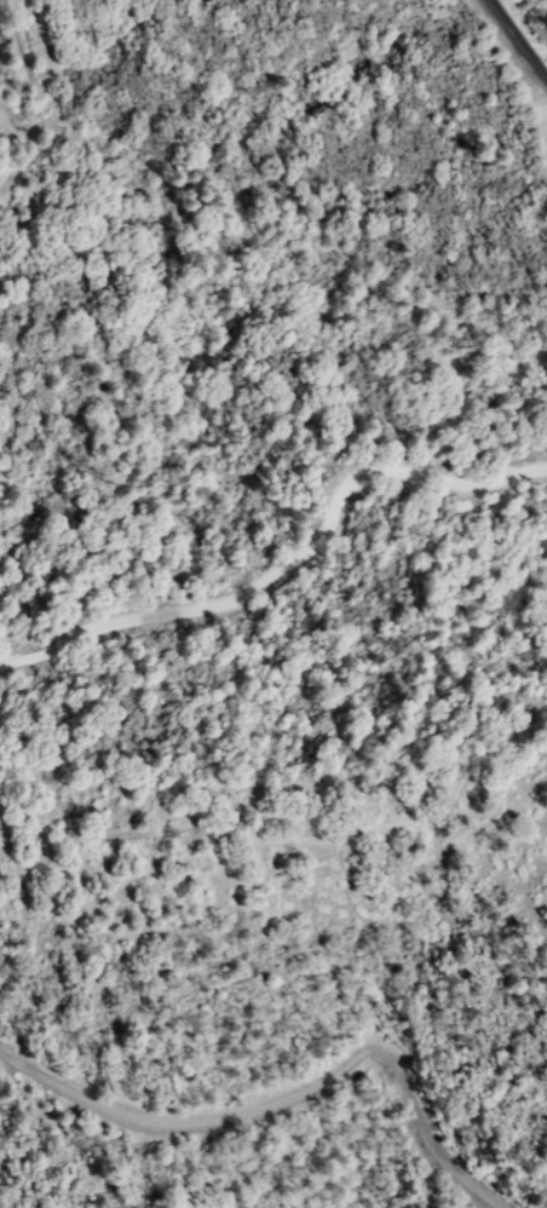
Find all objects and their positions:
road: (506, 51)
road: (39, 99)
road: (282, 558)
road: (272, 839)
road: (292, 1099)

